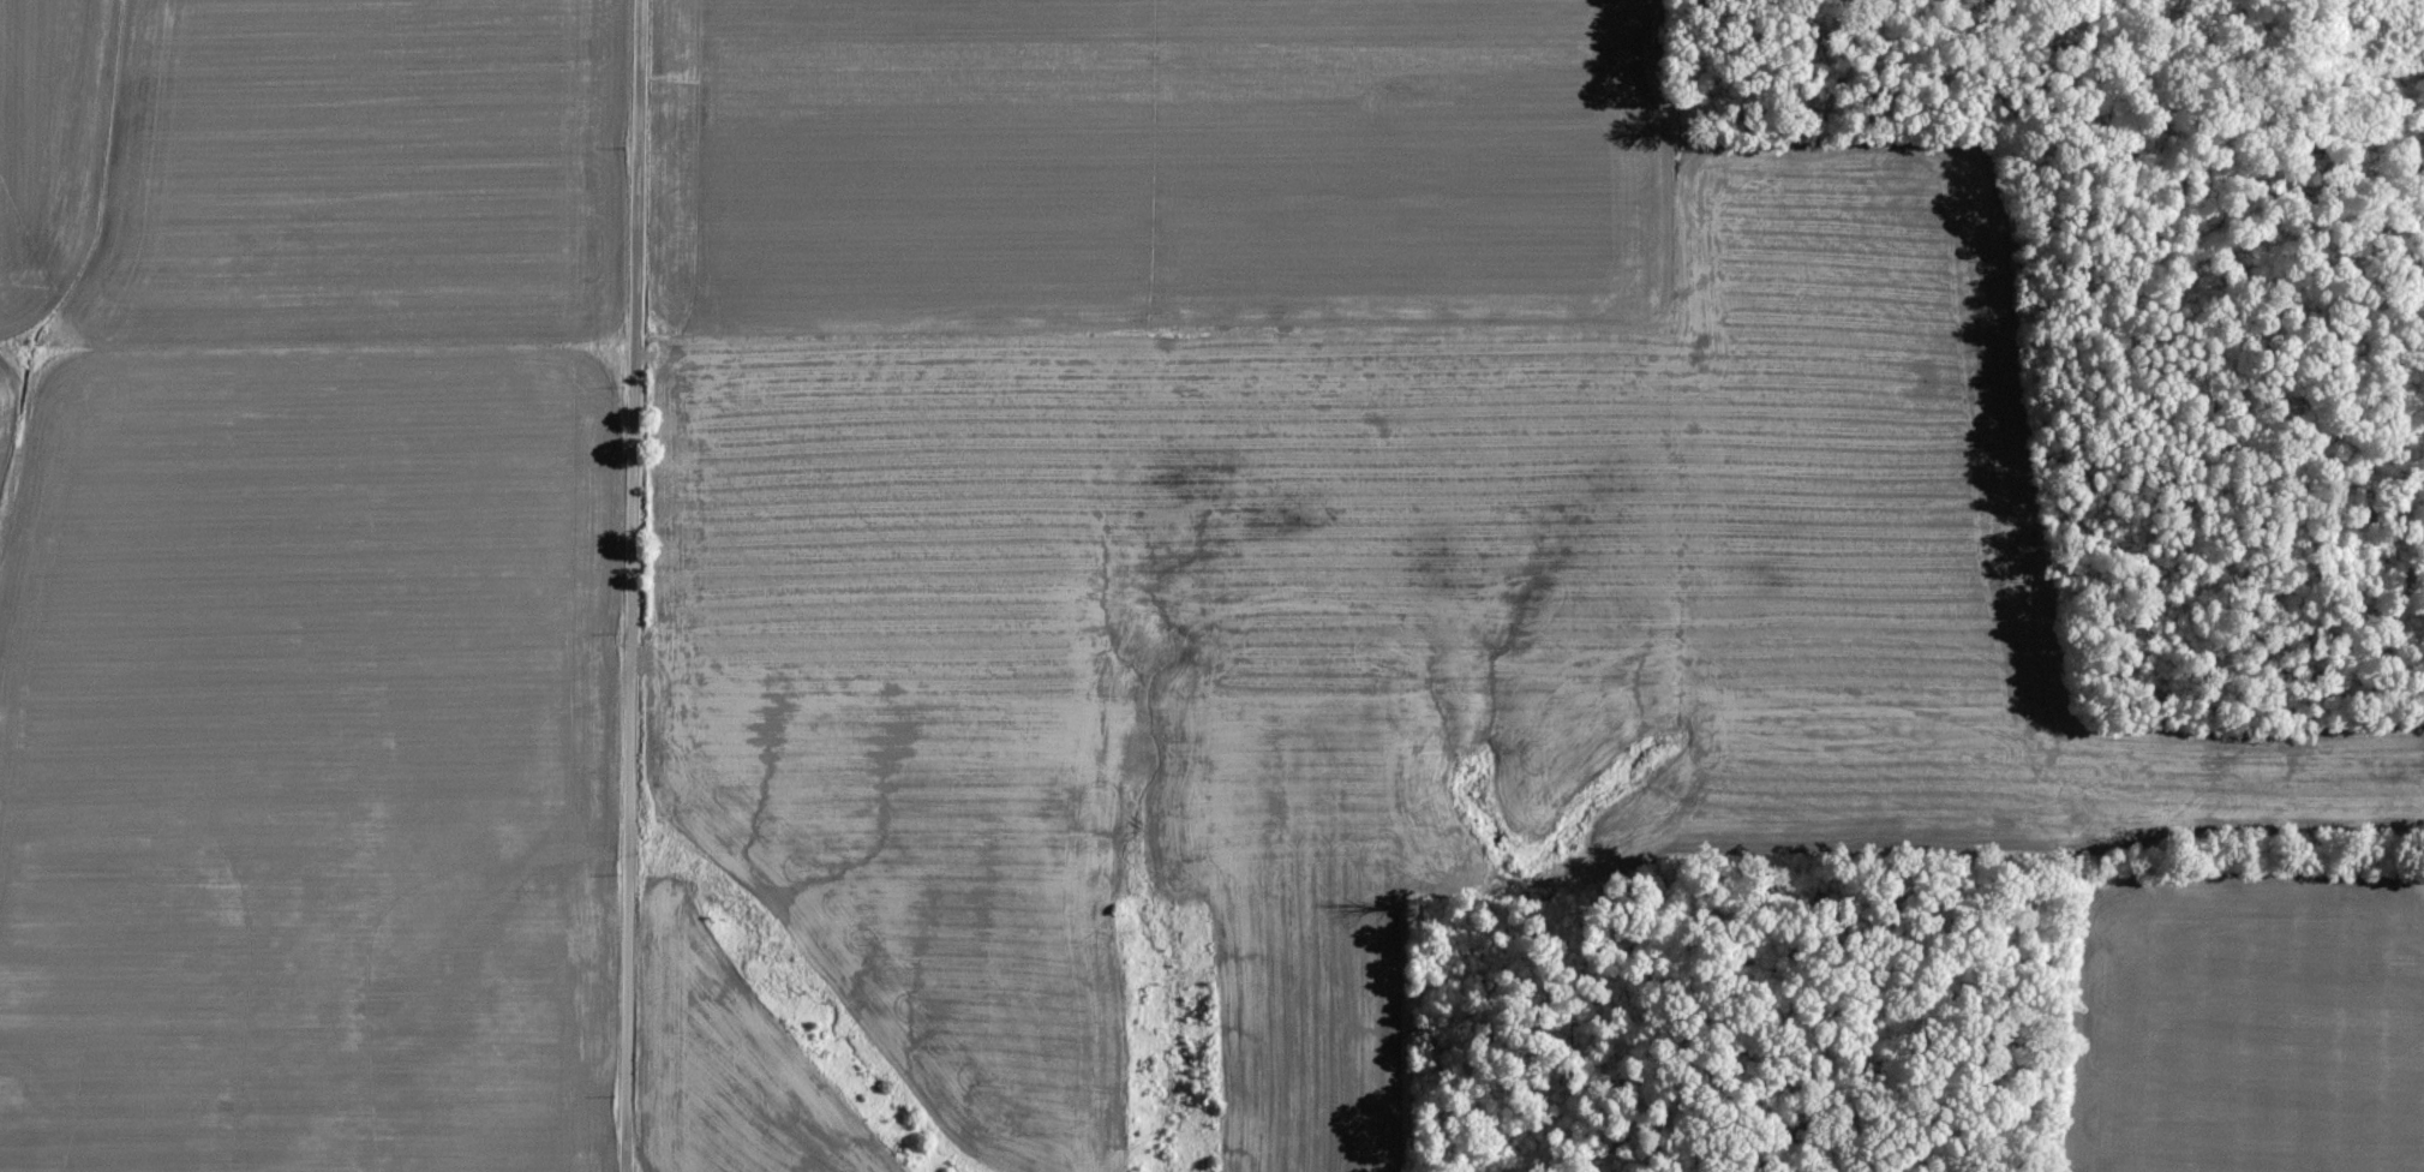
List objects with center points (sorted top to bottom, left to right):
road: (629, 585)

